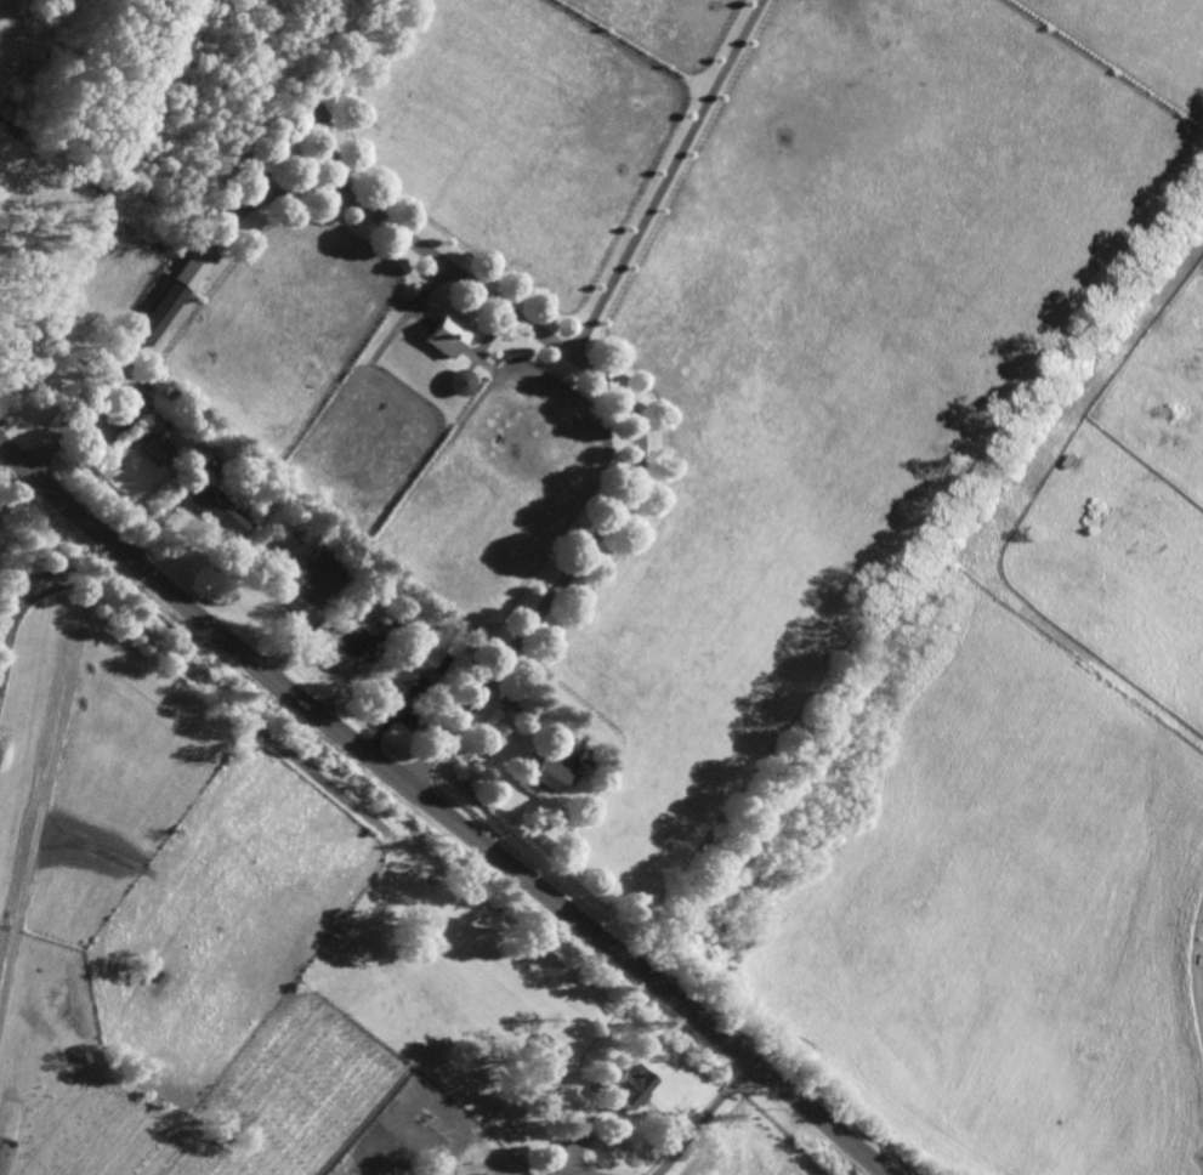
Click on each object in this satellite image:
road: (666, 176)
road: (291, 193)
road: (208, 242)
building: (159, 308)
building: (444, 335)
building: (132, 347)
road: (625, 404)
building: (126, 405)
building: (153, 416)
building: (159, 448)
building: (189, 467)
building: (237, 476)
building: (221, 510)
building: (267, 523)
building: (303, 573)
building: (353, 603)
building: (395, 619)
building: (352, 641)
building: (409, 658)
building: (416, 666)
building: (586, 760)
building: (549, 773)
road: (442, 811)
building: (549, 1050)
building: (628, 1085)
road: (702, 1117)
building: (608, 1131)
road: (585, 1171)
building: (487, 1174)

